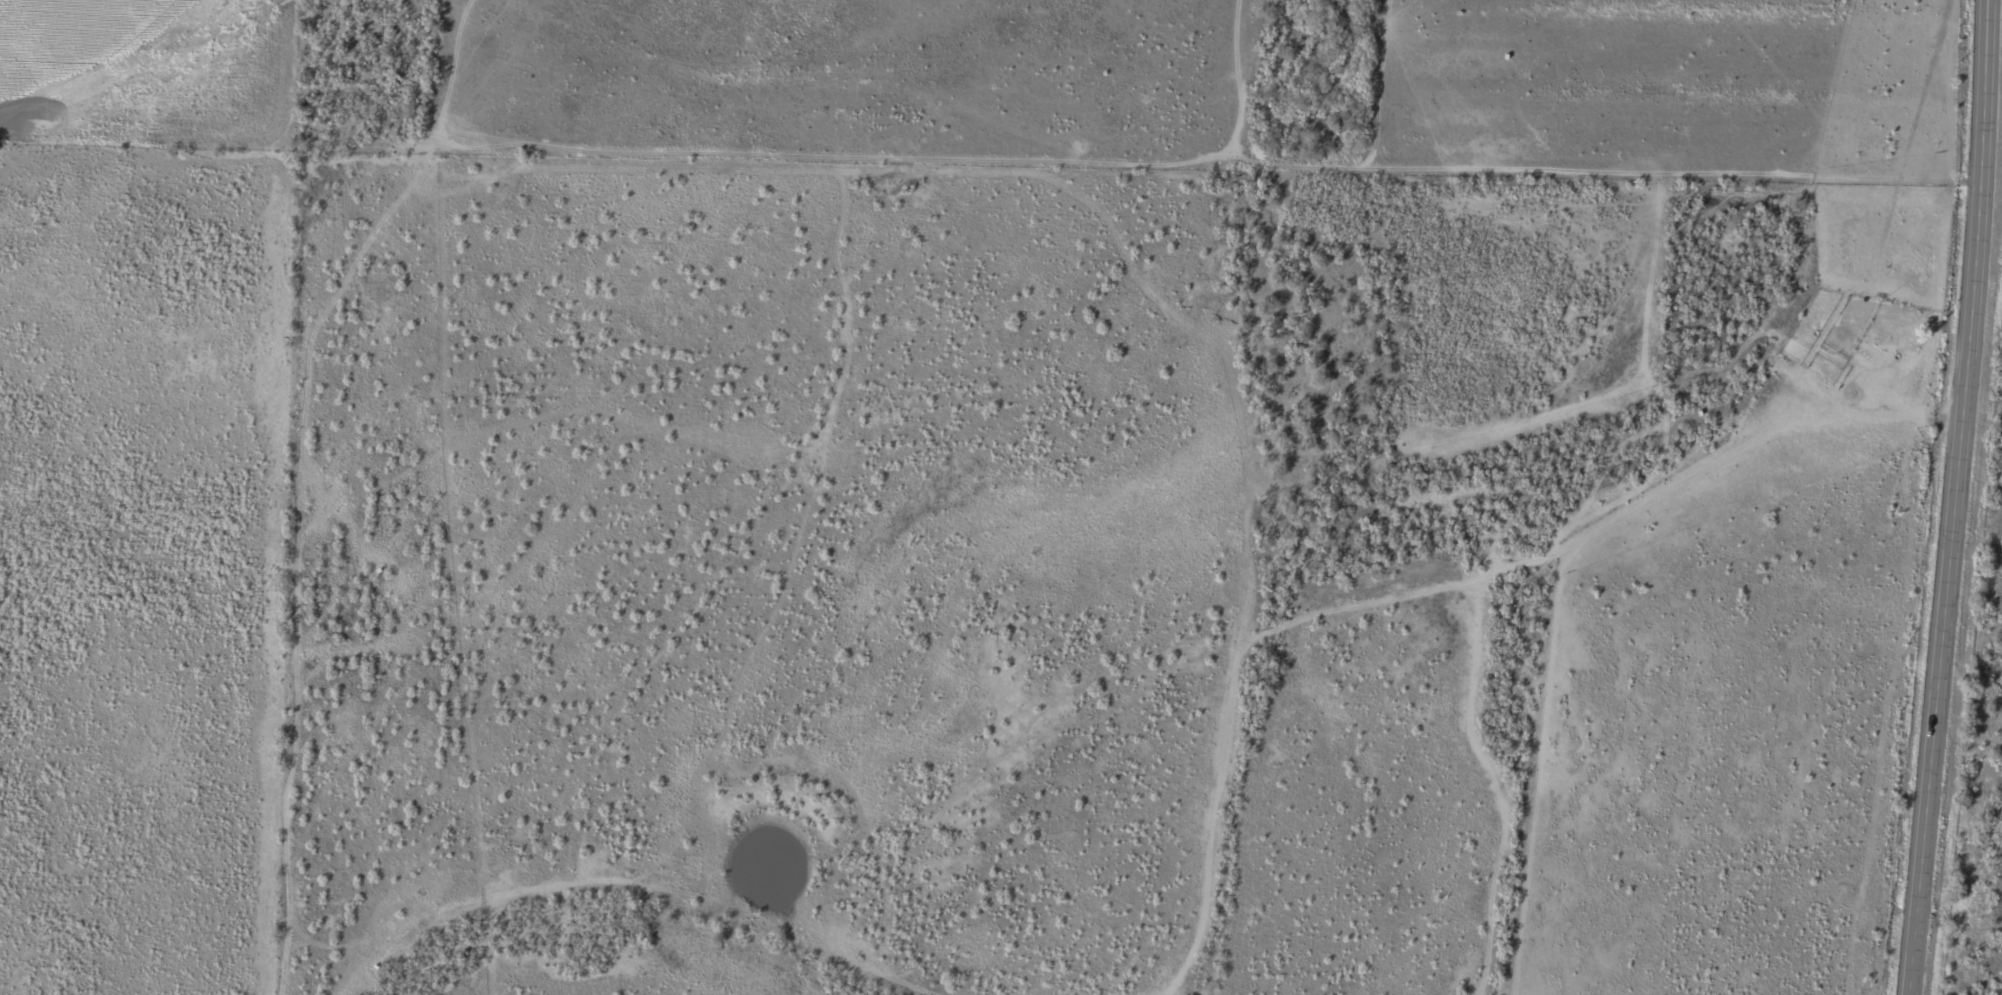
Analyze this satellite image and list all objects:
road: (1955, 497)
road: (1446, 534)
road: (894, 984)

